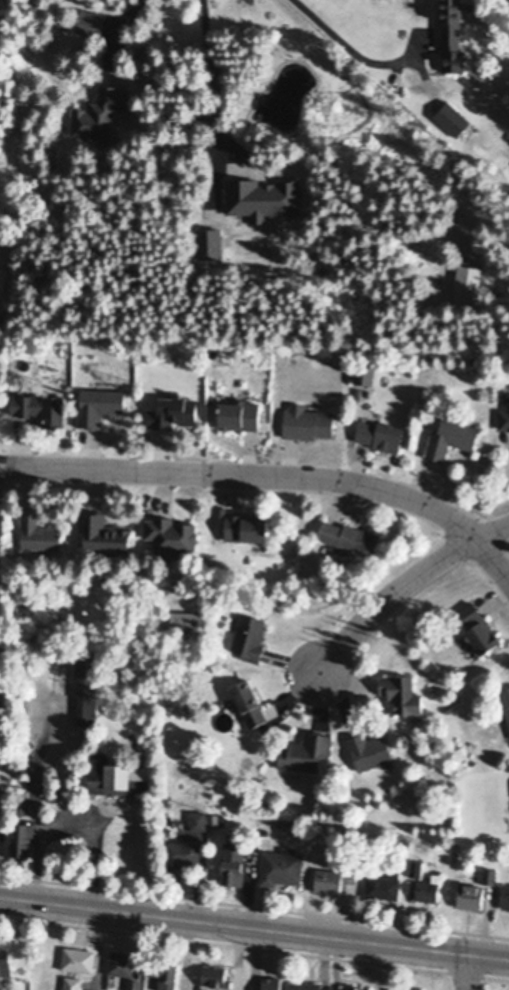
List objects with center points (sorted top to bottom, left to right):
building: (91, 25)
building: (451, 25)
road: (356, 52)
road: (209, 77)
building: (100, 118)
building: (452, 122)
building: (262, 201)
building: (209, 246)
building: (467, 291)
building: (364, 370)
building: (10, 380)
building: (98, 401)
building: (40, 402)
building: (172, 406)
building: (239, 409)
building: (504, 413)
building: (307, 418)
building: (380, 430)
building: (450, 433)
road: (274, 478)
building: (246, 520)
building: (38, 528)
building: (104, 529)
building: (172, 529)
building: (350, 531)
road: (492, 533)
road: (390, 598)
building: (183, 614)
building: (479, 622)
building: (249, 633)
building: (87, 681)
building: (401, 688)
building: (248, 697)
building: (505, 698)
building: (369, 747)
building: (306, 748)
building: (116, 772)
building: (229, 779)
building: (1, 796)
road: (36, 814)
building: (197, 817)
building: (221, 817)
building: (213, 818)
building: (22, 835)
road: (90, 842)
building: (181, 850)
building: (401, 855)
building: (233, 860)
building: (280, 864)
building: (415, 866)
building: (489, 873)
building: (335, 875)
building: (383, 883)
building: (428, 886)
building: (470, 892)
building: (505, 894)
road: (254, 929)
building: (78, 957)
building: (5, 960)
building: (120, 961)
building: (164, 969)
road: (462, 972)
building: (214, 973)
building: (71, 982)
building: (270, 982)
building: (133, 983)
building: (307, 984)
building: (355, 987)
building: (406, 989)

